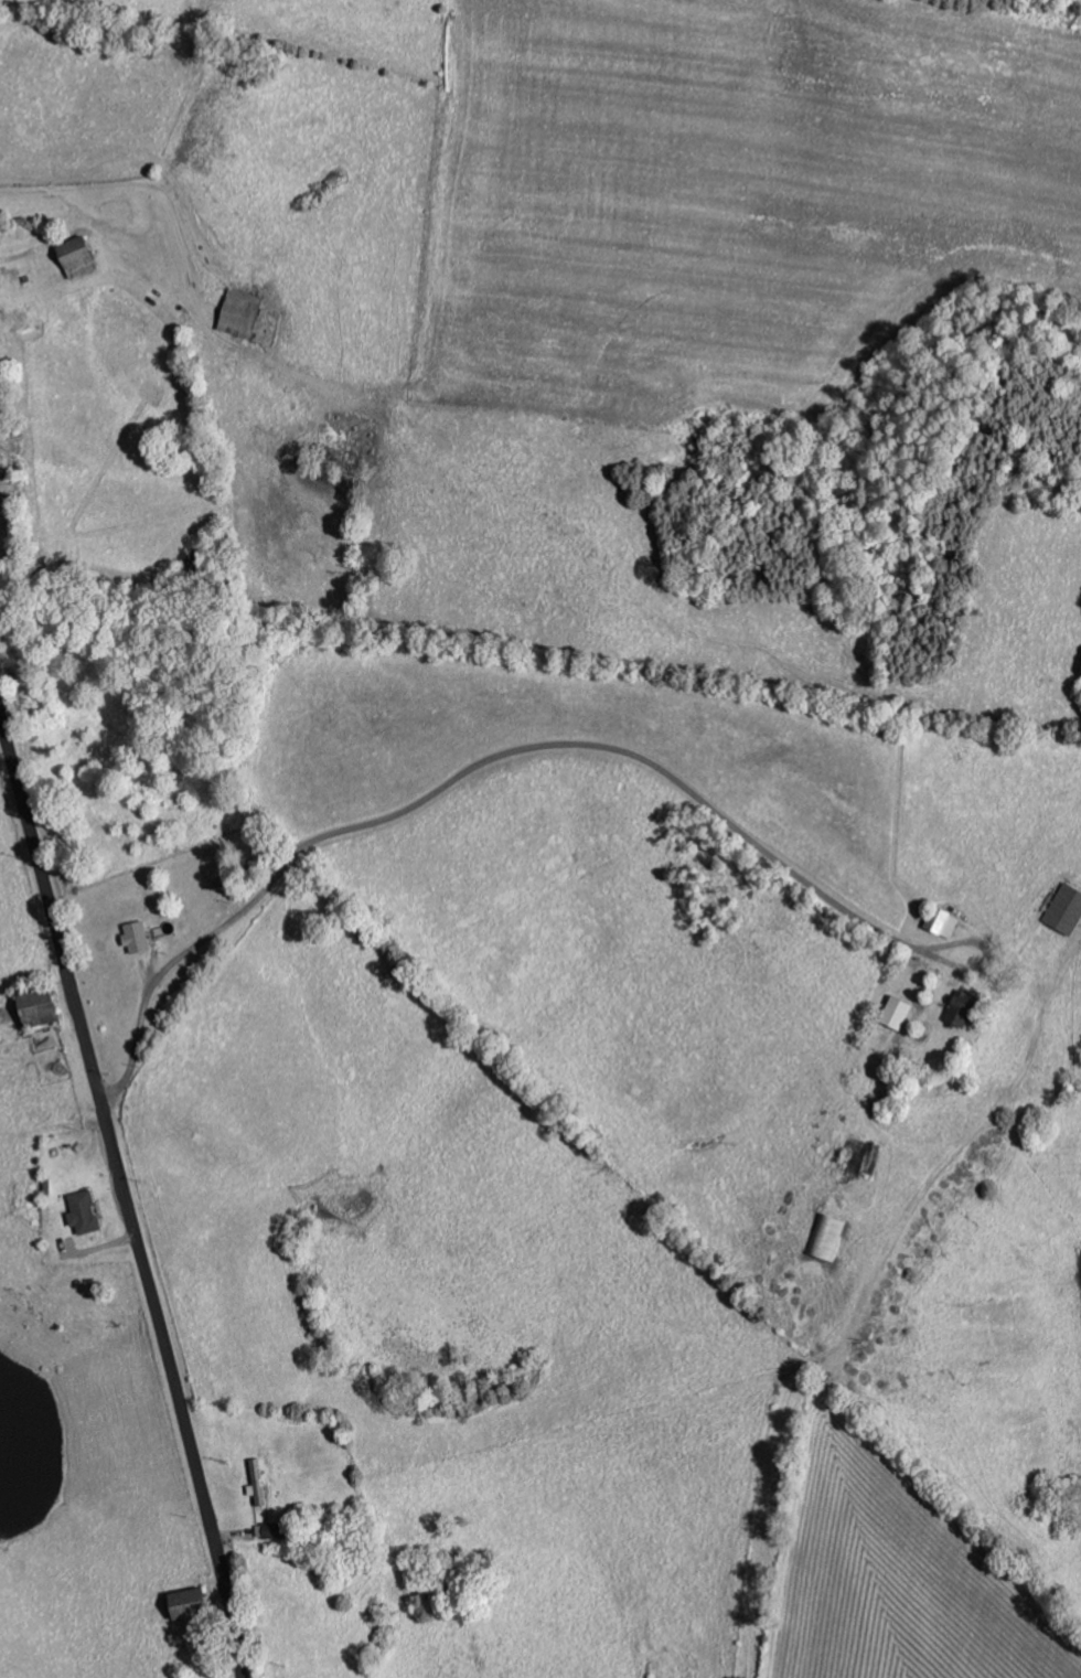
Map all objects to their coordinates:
building: (87, 263)
building: (245, 313)
building: (1069, 910)
building: (948, 922)
building: (140, 938)
road: (168, 966)
building: (44, 1005)
building: (964, 1008)
building: (902, 1012)
road: (122, 1195)
building: (88, 1212)
building: (830, 1236)
building: (261, 1484)
building: (276, 1530)

